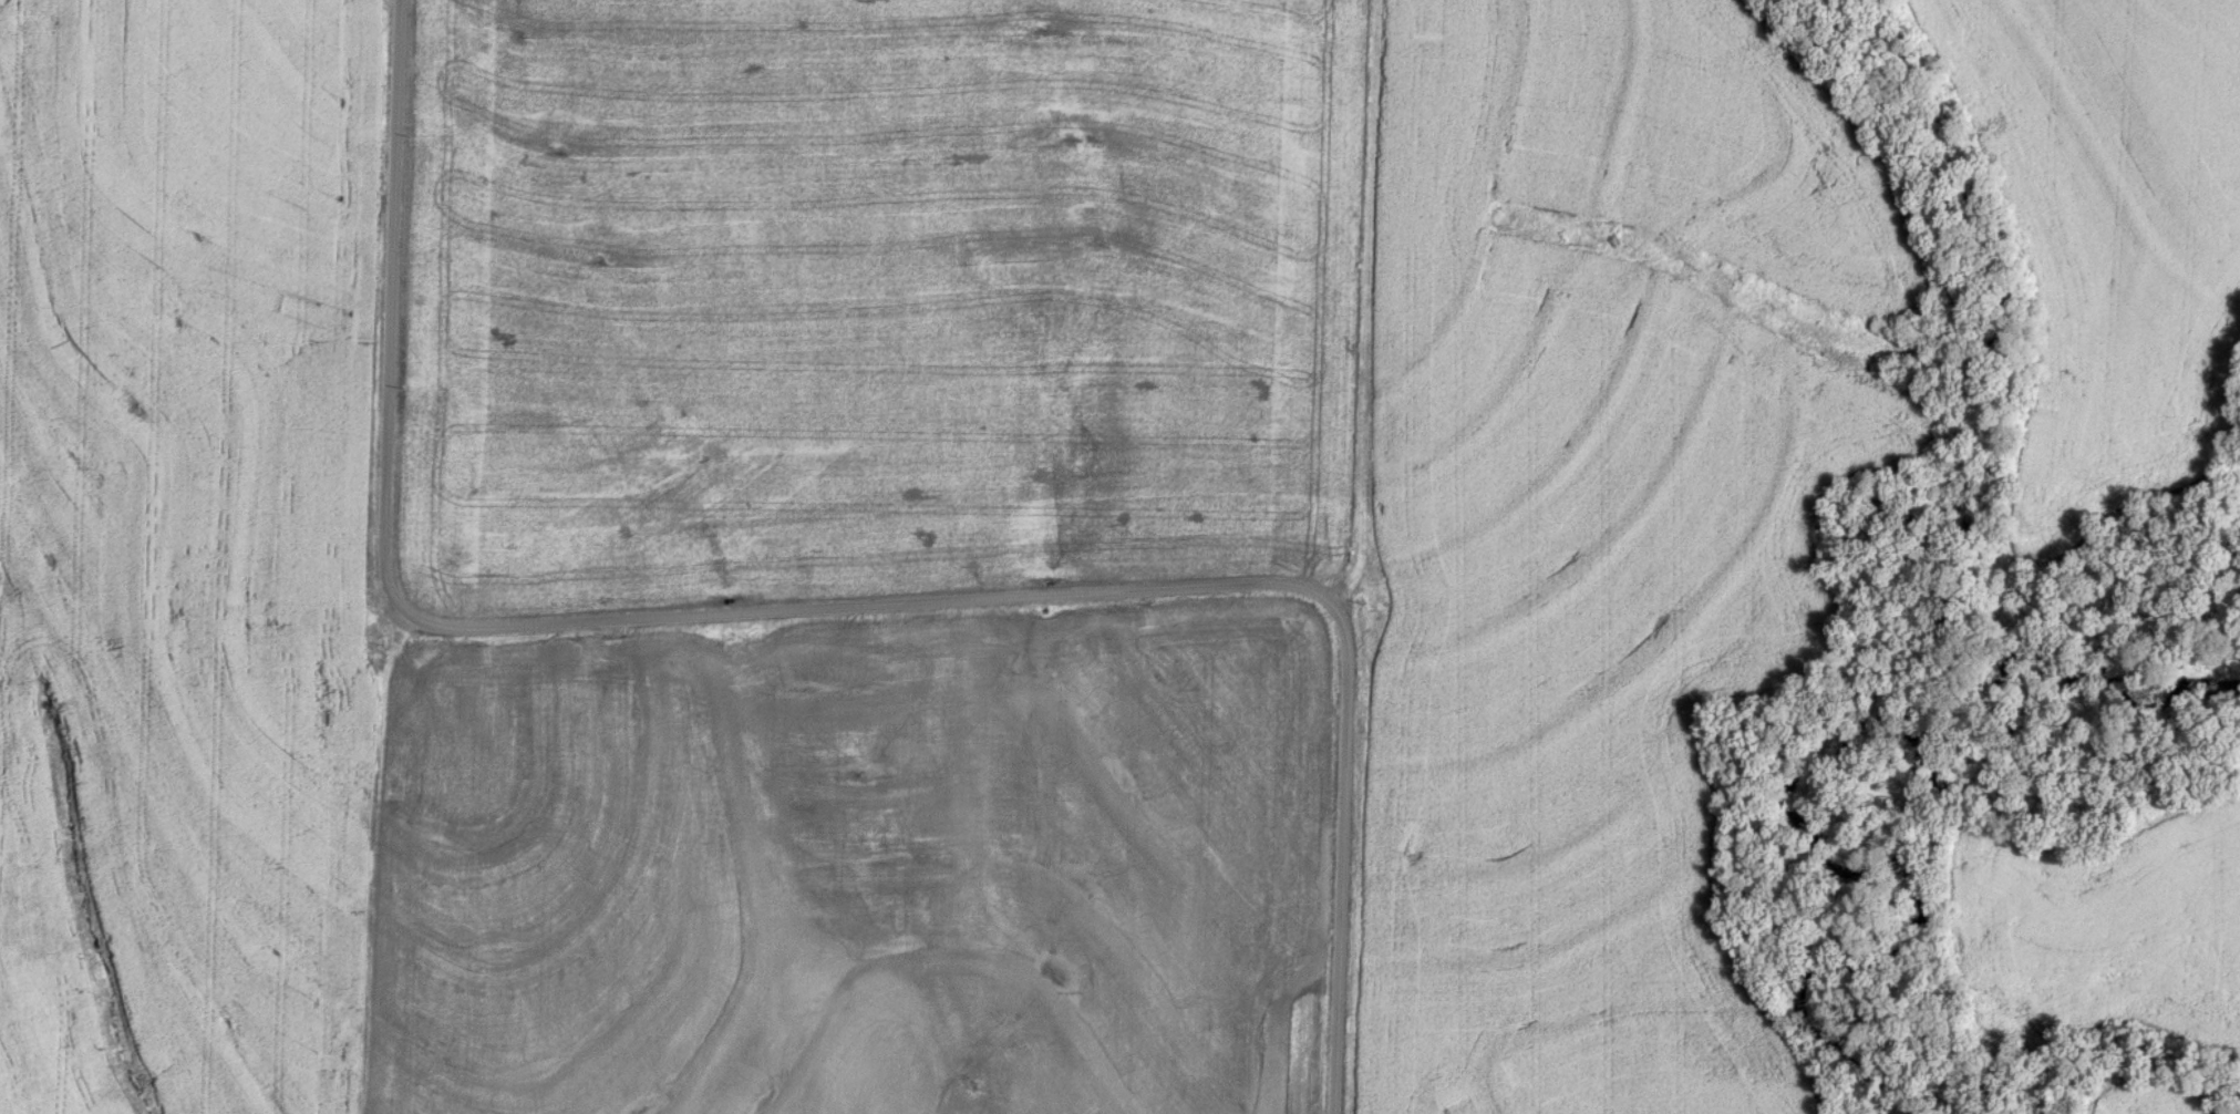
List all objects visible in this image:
road: (817, 605)

